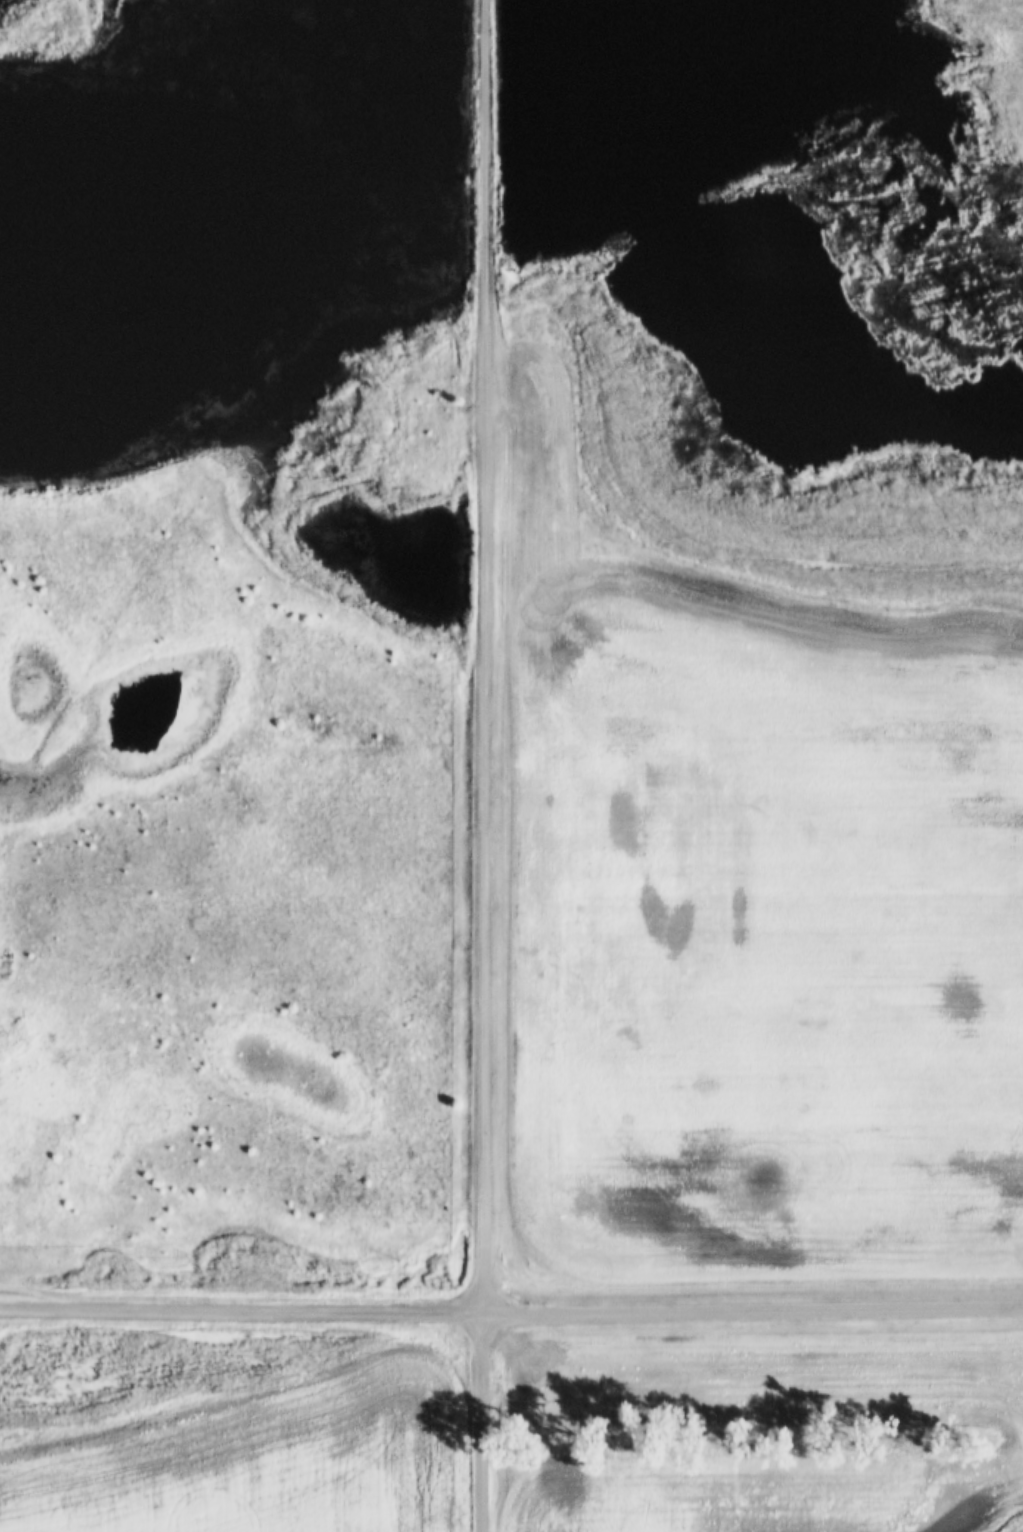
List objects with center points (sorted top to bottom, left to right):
road: (484, 766)
road: (511, 1310)

